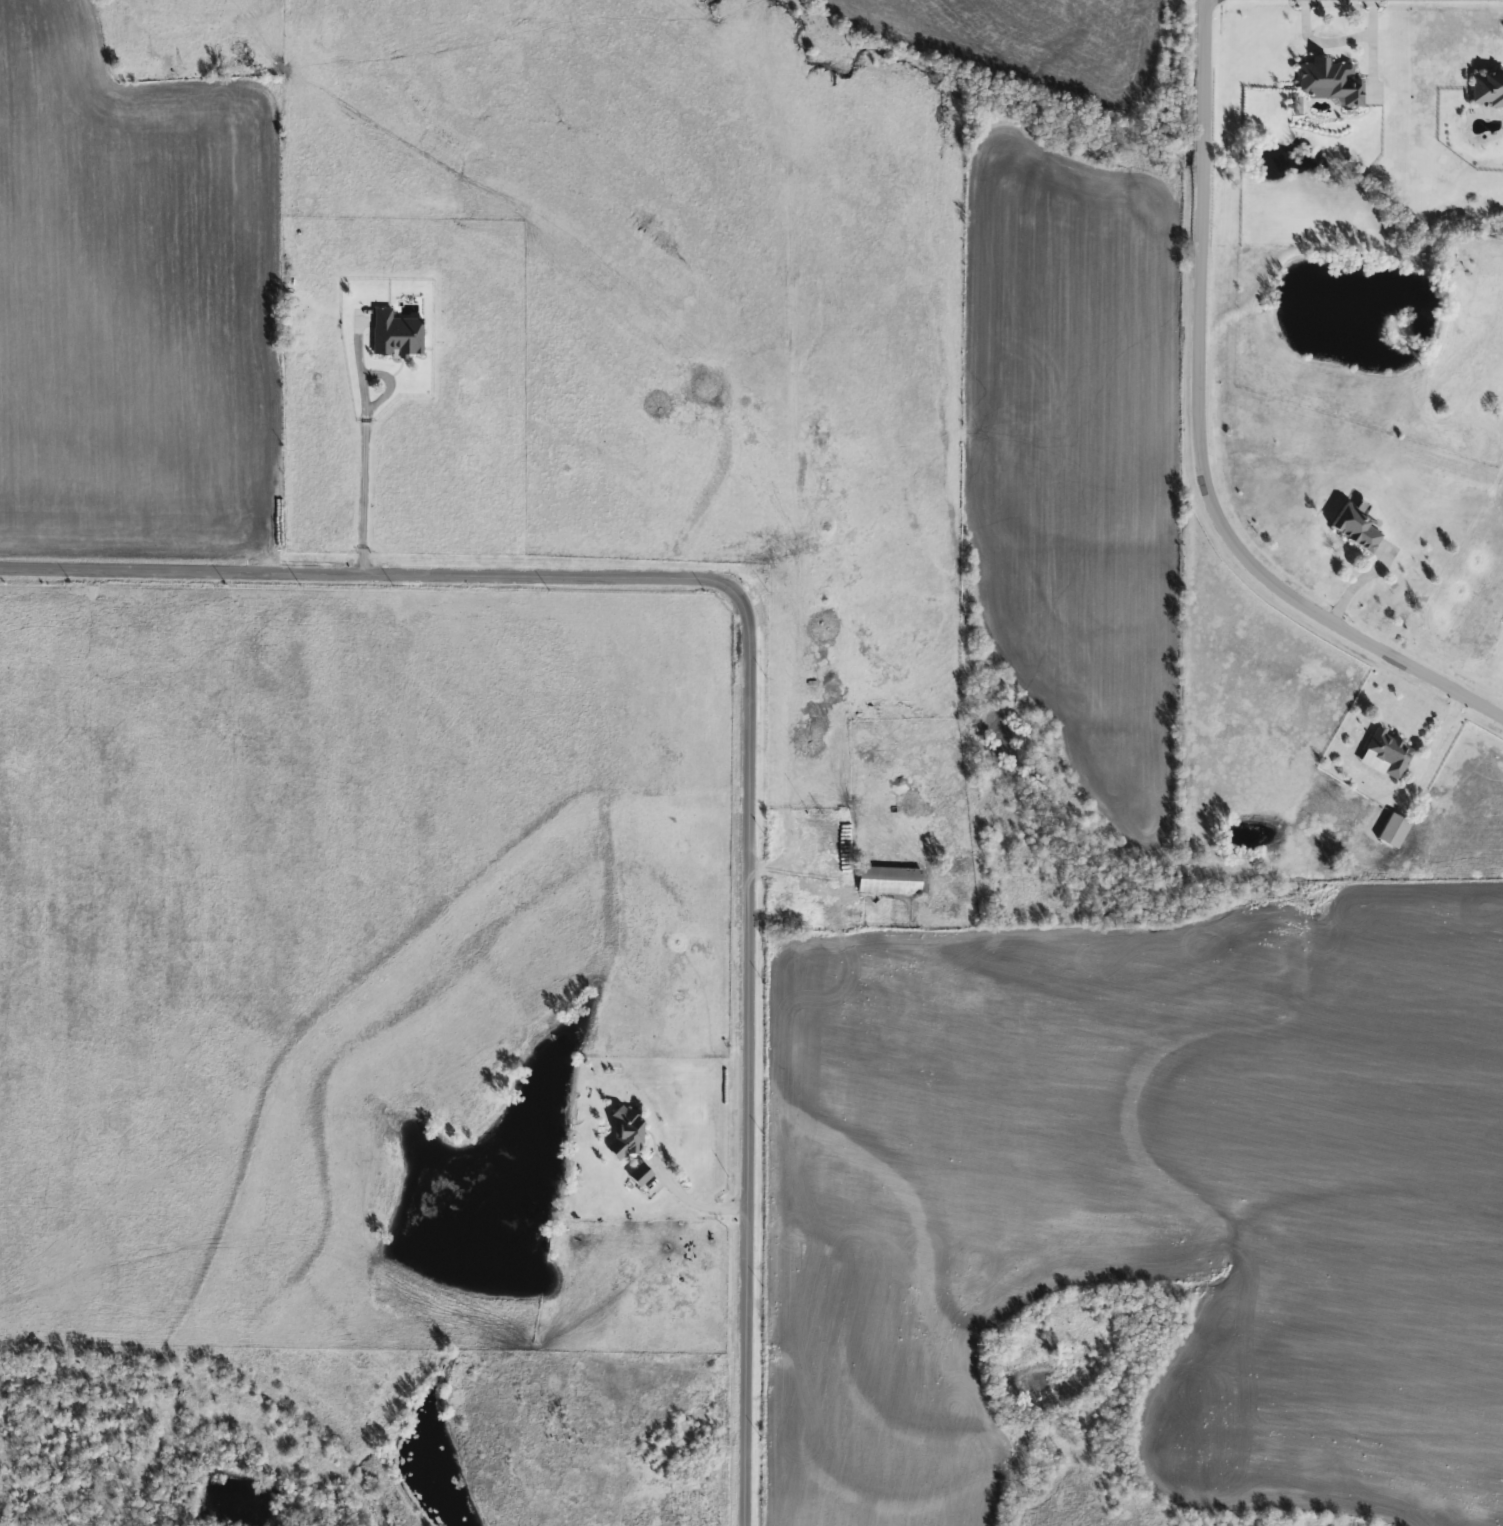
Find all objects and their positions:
crop: (1019, 37)
road: (1335, 40)
building: (1328, 79)
building: (1486, 87)
building: (395, 332)
road: (1203, 427)
road: (368, 500)
building: (1355, 528)
road: (752, 684)
road: (1445, 724)
building: (1386, 752)
building: (1392, 829)
building: (888, 879)
building: (624, 1130)
building: (638, 1174)
road: (694, 1205)

